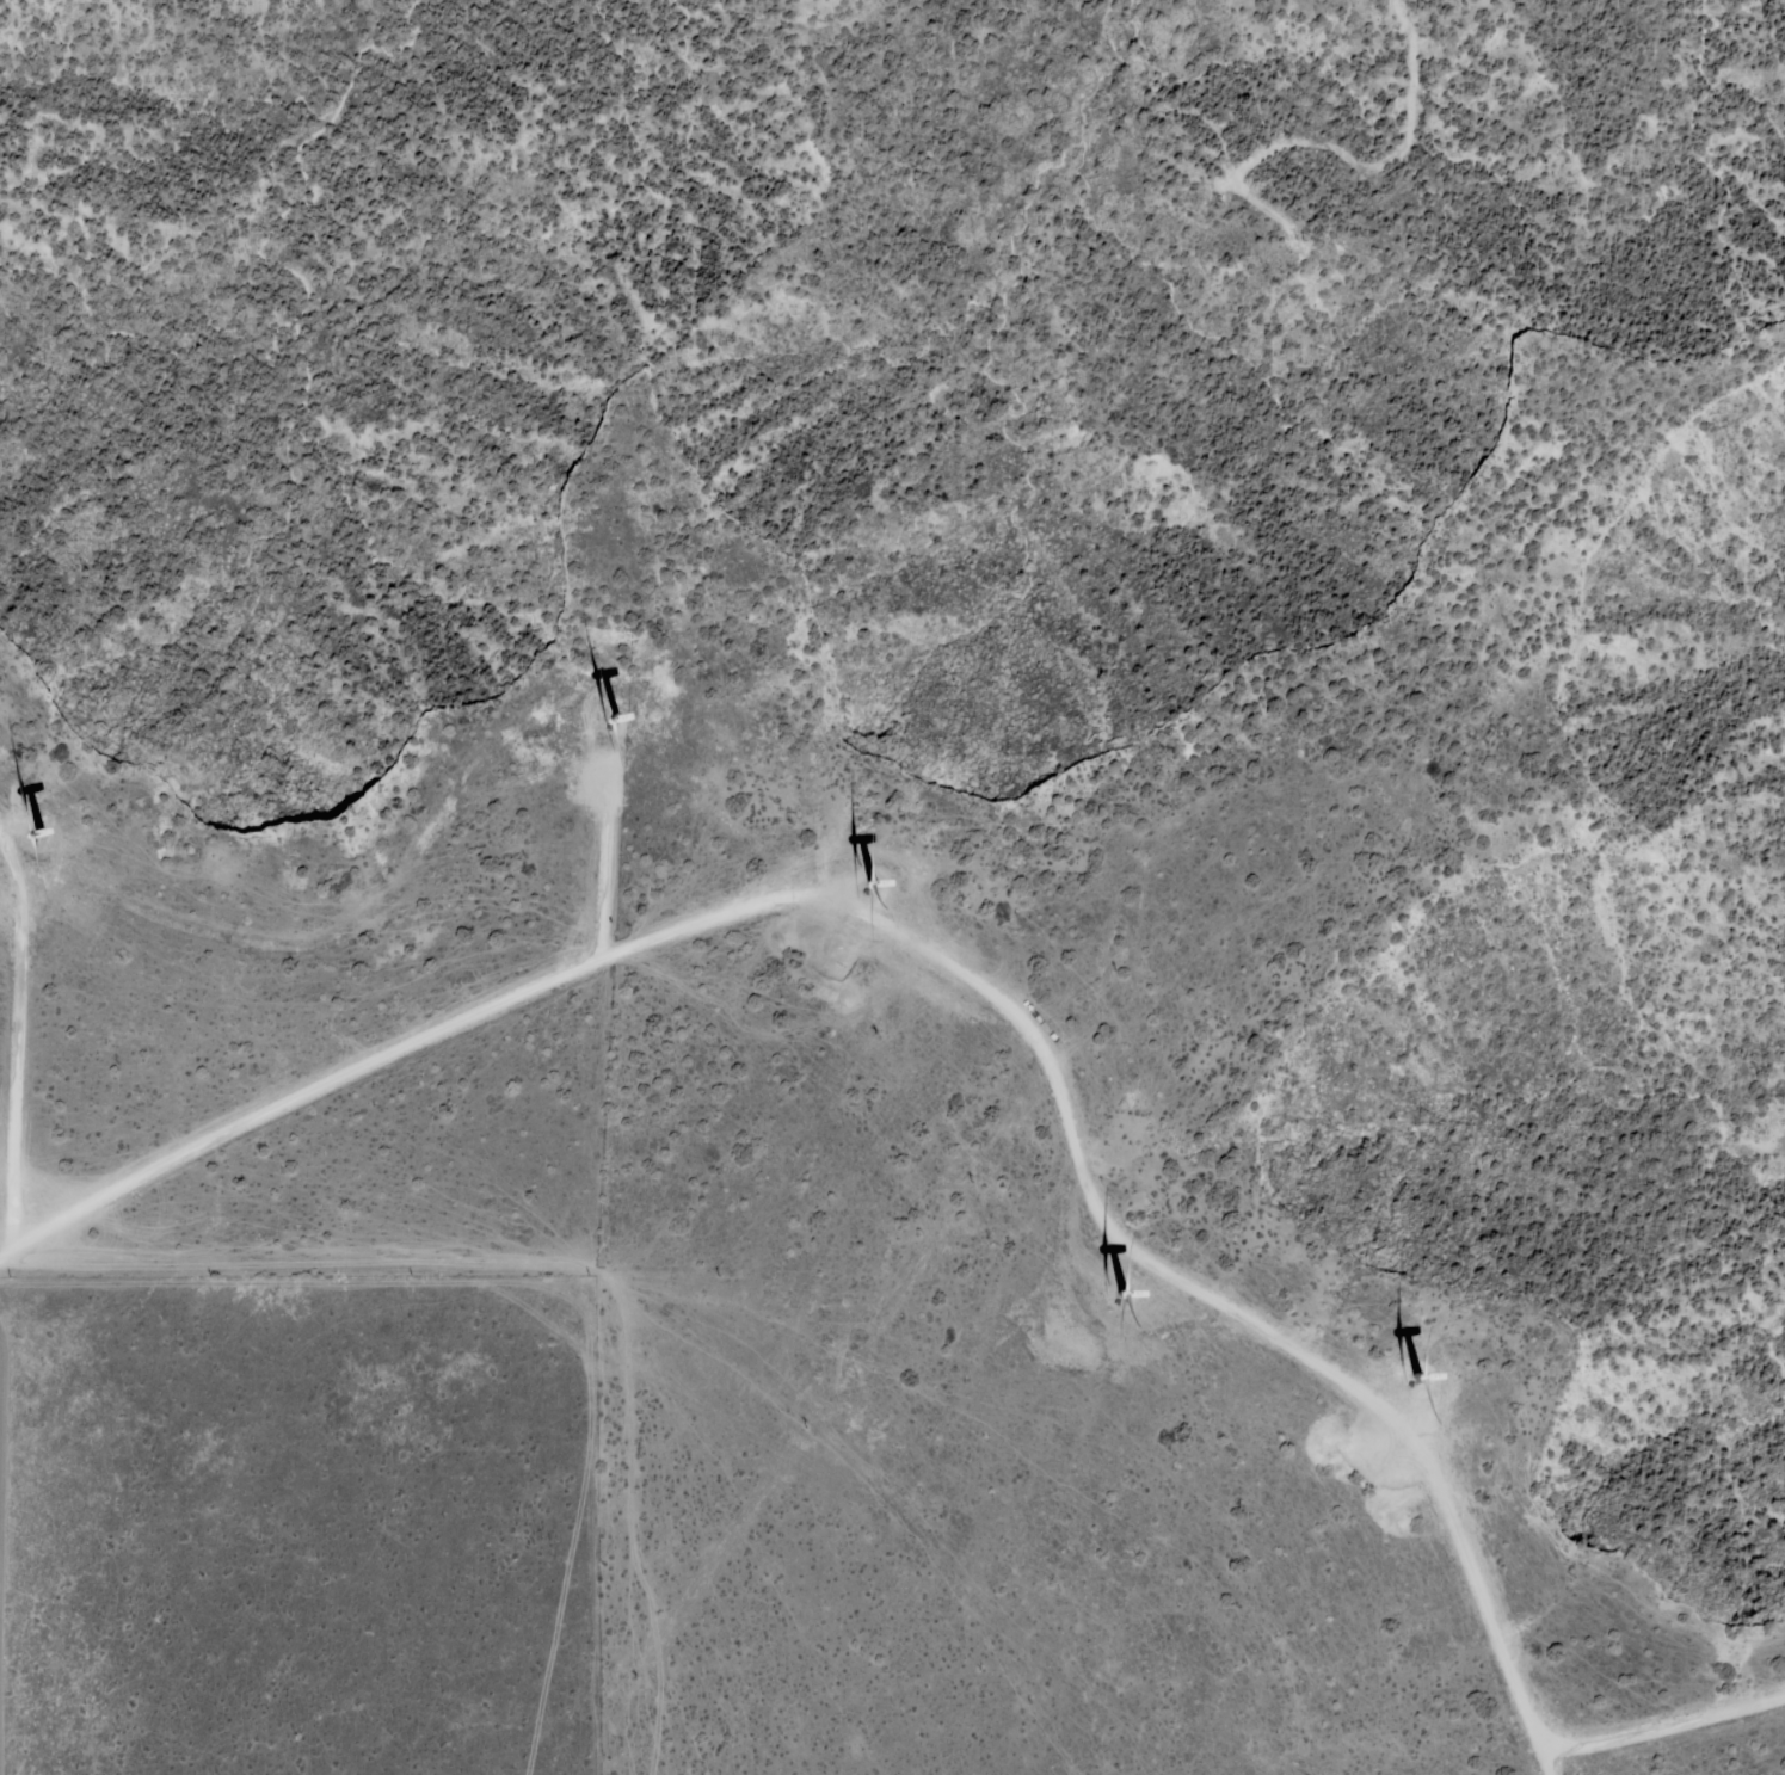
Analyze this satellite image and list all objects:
power tower: (1299, 242)
wind turbine: (609, 723)
power tower: (1175, 757)
wind turbine: (36, 831)
wind turbine: (867, 881)
road: (16, 1042)
road: (297, 1095)
road: (1071, 1147)
road: (5, 1252)
road: (91, 1283)
wind turbine: (1121, 1295)
road: (585, 1342)
road: (82, 1361)
wind turbine: (1415, 1379)
crop: (272, 1516)
road: (1663, 1726)
road: (1545, 1767)

